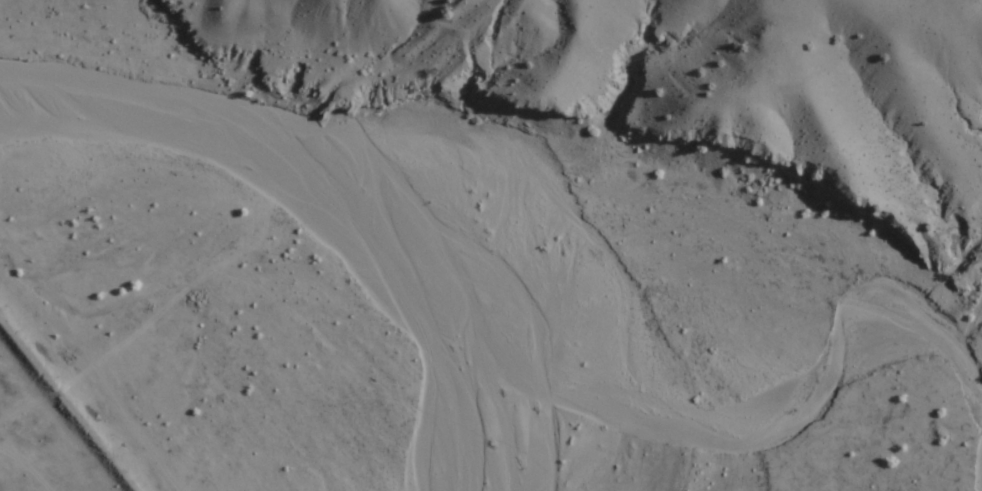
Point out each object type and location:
river: (400, 190)

